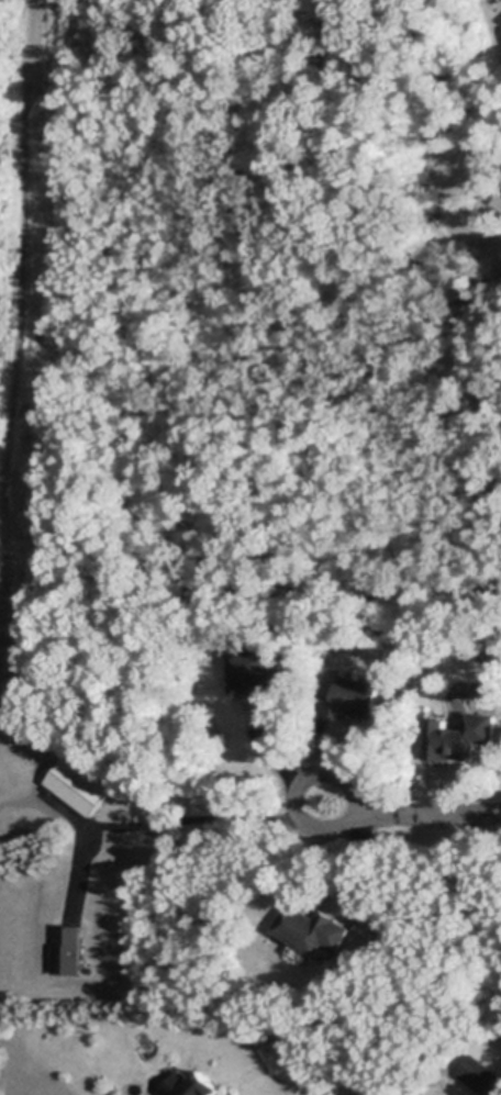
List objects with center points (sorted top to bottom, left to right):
power tower: (37, 124)
building: (491, 129)
power tower: (15, 478)
building: (339, 644)
building: (266, 683)
building: (26, 696)
building: (354, 700)
building: (459, 737)
building: (86, 760)
road: (275, 760)
building: (76, 786)
road: (411, 816)
road: (160, 823)
building: (312, 928)
building: (68, 950)
building: (481, 1075)
building: (189, 1085)

